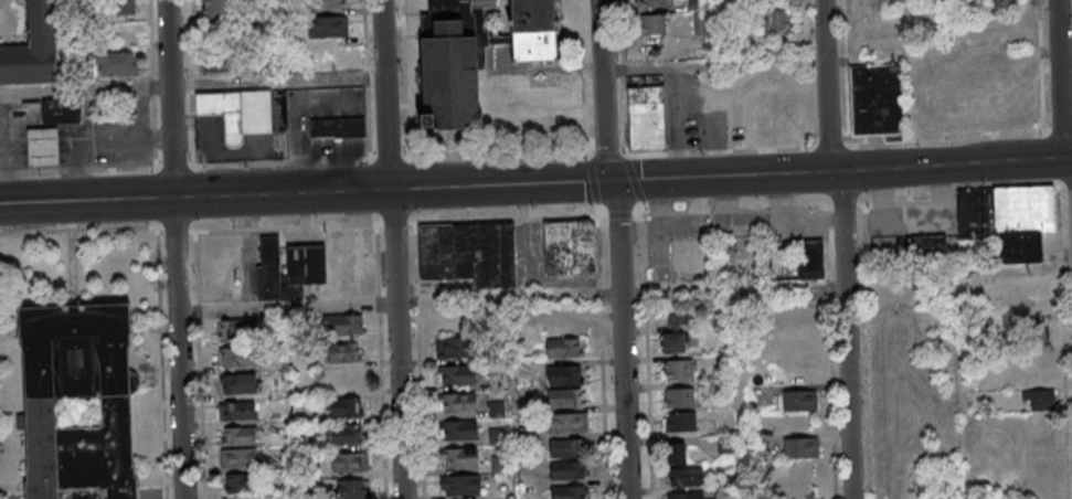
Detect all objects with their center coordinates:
building: (656, 3)
building: (1004, 3)
building: (329, 4)
building: (121, 7)
building: (217, 8)
building: (777, 19)
building: (651, 25)
building: (327, 26)
building: (534, 31)
road: (718, 33)
road: (64, 45)
building: (33, 51)
road: (1068, 51)
building: (455, 63)
building: (115, 64)
building: (221, 65)
road: (718, 66)
road: (1043, 79)
road: (194, 85)
road: (1064, 87)
building: (877, 100)
building: (534, 106)
building: (63, 110)
building: (238, 113)
building: (647, 118)
building: (338, 127)
road: (94, 135)
building: (44, 145)
road: (877, 146)
road: (4, 158)
road: (78, 169)
traffic signals: (611, 181)
road: (535, 183)
road: (659, 213)
building: (1008, 216)
building: (884, 222)
road: (159, 233)
building: (928, 245)
road: (417, 246)
building: (570, 246)
road: (397, 248)
road: (624, 248)
road: (848, 248)
road: (179, 250)
building: (469, 253)
building: (810, 259)
building: (289, 269)
road: (960, 273)
building: (1039, 285)
road: (403, 305)
building: (343, 325)
building: (240, 329)
building: (1031, 332)
building: (676, 336)
building: (460, 347)
building: (566, 349)
building: (342, 353)
building: (241, 355)
road: (604, 358)
building: (678, 370)
building: (460, 375)
building: (570, 375)
building: (344, 381)
building: (241, 383)
building: (679, 397)
building: (570, 399)
building: (1040, 399)
building: (799, 400)
road: (385, 402)
building: (461, 402)
building: (342, 408)
building: (240, 412)
building: (40, 413)
building: (570, 422)
building: (680, 422)
building: (461, 429)
building: (344, 435)
building: (238, 436)
building: (725, 445)
building: (800, 447)
building: (570, 448)
building: (679, 453)
building: (238, 458)
building: (464, 458)
building: (349, 461)
building: (569, 471)
building: (689, 477)
building: (243, 484)
building: (465, 485)
building: (350, 489)
building: (571, 491)
building: (690, 495)
building: (244, 497)

